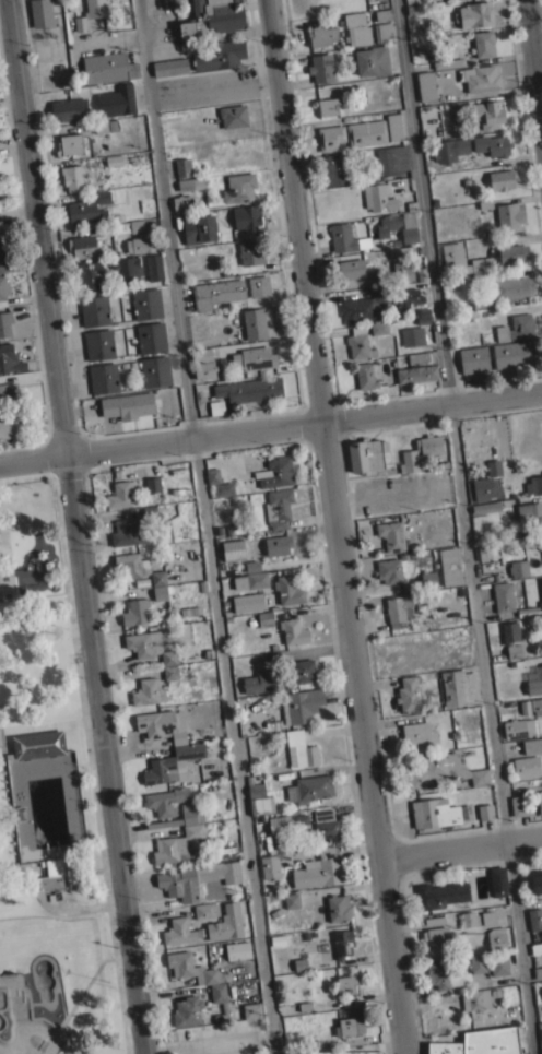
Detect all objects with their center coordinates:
building: (413, 7)
building: (42, 13)
building: (90, 14)
building: (384, 14)
building: (474, 14)
building: (356, 28)
building: (213, 33)
building: (382, 33)
building: (322, 35)
building: (484, 43)
building: (424, 46)
road: (534, 52)
building: (373, 60)
building: (448, 62)
building: (108, 67)
building: (170, 67)
building: (321, 68)
building: (480, 79)
building: (426, 85)
road: (213, 86)
building: (116, 100)
building: (328, 106)
building: (69, 109)
building: (488, 114)
building: (233, 116)
building: (101, 126)
building: (393, 126)
building: (366, 132)
building: (330, 137)
building: (69, 144)
building: (493, 144)
building: (460, 145)
building: (392, 158)
building: (114, 159)
building: (182, 167)
building: (333, 169)
building: (72, 177)
building: (502, 179)
building: (190, 183)
building: (238, 187)
building: (378, 198)
building: (181, 202)
building: (87, 209)
building: (246, 215)
building: (508, 215)
building: (387, 224)
building: (408, 227)
building: (198, 228)
building: (144, 236)
building: (346, 238)
building: (82, 246)
building: (250, 252)
building: (512, 253)
building: (452, 257)
building: (1, 259)
building: (385, 259)
building: (482, 264)
building: (154, 267)
building: (127, 268)
building: (353, 268)
building: (401, 271)
building: (421, 271)
building: (89, 275)
building: (378, 276)
building: (258, 285)
building: (511, 286)
building: (2, 288)
building: (216, 292)
building: (378, 301)
building: (479, 303)
building: (146, 304)
building: (94, 310)
building: (423, 316)
building: (4, 322)
building: (256, 323)
building: (378, 325)
building: (200, 327)
building: (516, 327)
building: (412, 335)
building: (151, 336)
building: (98, 343)
building: (358, 343)
building: (515, 354)
building: (417, 356)
building: (254, 357)
building: (473, 358)
building: (10, 359)
building: (204, 363)
building: (155, 370)
building: (416, 374)
building: (364, 376)
building: (103, 378)
building: (249, 389)
building: (9, 393)
building: (127, 405)
building: (216, 406)
building: (7, 425)
road: (270, 428)
building: (409, 453)
building: (366, 454)
building: (493, 467)
building: (273, 473)
building: (212, 475)
building: (152, 484)
building: (535, 484)
building: (221, 487)
building: (482, 488)
building: (120, 494)
building: (485, 507)
building: (278, 508)
building: (150, 512)
building: (530, 512)
building: (449, 517)
road: (78, 526)
road: (204, 526)
road: (338, 526)
road: (466, 526)
building: (127, 532)
building: (396, 534)
building: (532, 541)
building: (278, 544)
building: (233, 549)
building: (487, 550)
building: (252, 566)
building: (450, 566)
building: (138, 567)
building: (518, 568)
building: (389, 569)
building: (428, 579)
building: (250, 580)
building: (541, 581)
building: (287, 590)
building: (160, 592)
building: (503, 596)
building: (248, 602)
building: (541, 603)
building: (398, 609)
building: (135, 611)
building: (266, 618)
building: (425, 620)
building: (293, 631)
building: (453, 635)
building: (511, 639)
building: (149, 646)
building: (271, 653)
building: (304, 670)
building: (169, 672)
building: (262, 680)
building: (458, 686)
building: (534, 687)
building: (149, 691)
building: (408, 694)
building: (301, 704)
building: (537, 706)
building: (160, 725)
building: (518, 727)
building: (420, 735)
building: (0, 741)
building: (36, 744)
building: (532, 745)
building: (299, 749)
building: (172, 763)
building: (527, 766)
building: (444, 771)
building: (255, 787)
building: (309, 787)
building: (166, 801)
building: (540, 802)
park: (46, 803)
building: (261, 805)
building: (519, 805)
building: (485, 812)
building: (191, 813)
building: (434, 814)
building: (302, 821)
building: (279, 824)
building: (325, 824)
building: (178, 844)
road: (460, 849)
building: (270, 866)
building: (318, 872)
building: (57, 874)
building: (197, 878)
building: (497, 878)
building: (537, 884)
building: (440, 895)
building: (291, 900)
building: (338, 908)
building: (203, 910)
building: (487, 917)
building: (469, 919)
building: (534, 919)
building: (226, 922)
building: (178, 931)
building: (438, 935)
building: (496, 939)
building: (343, 943)
building: (535, 948)
building: (237, 949)
building: (478, 962)
building: (297, 964)
building: (499, 964)
building: (193, 969)
building: (538, 972)
building: (443, 974)
building: (345, 984)
building: (541, 990)
building: (480, 997)
building: (219, 1002)
building: (187, 1010)
building: (251, 1010)
building: (350, 1026)
park: (31, 1029)
building: (481, 1042)
building: (343, 1052)
building: (541, 1053)

